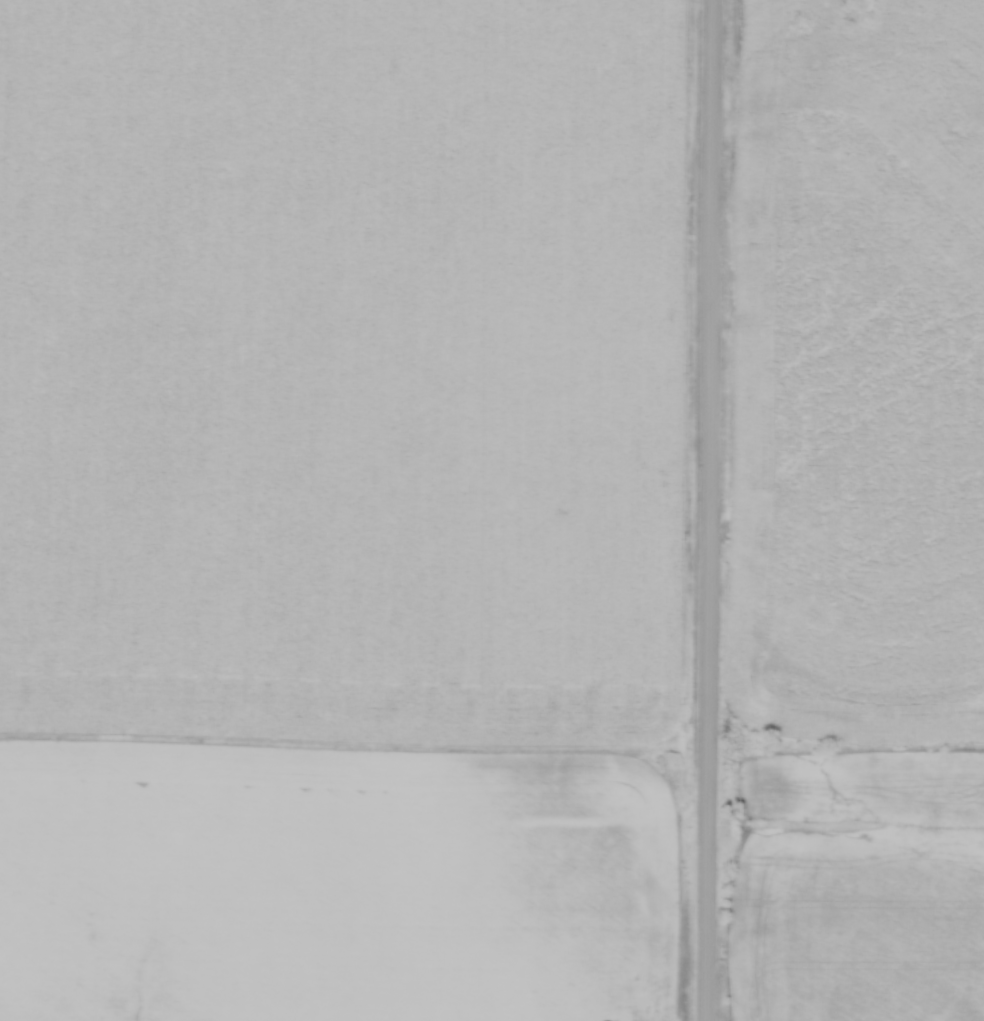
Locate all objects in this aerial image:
road: (706, 510)

